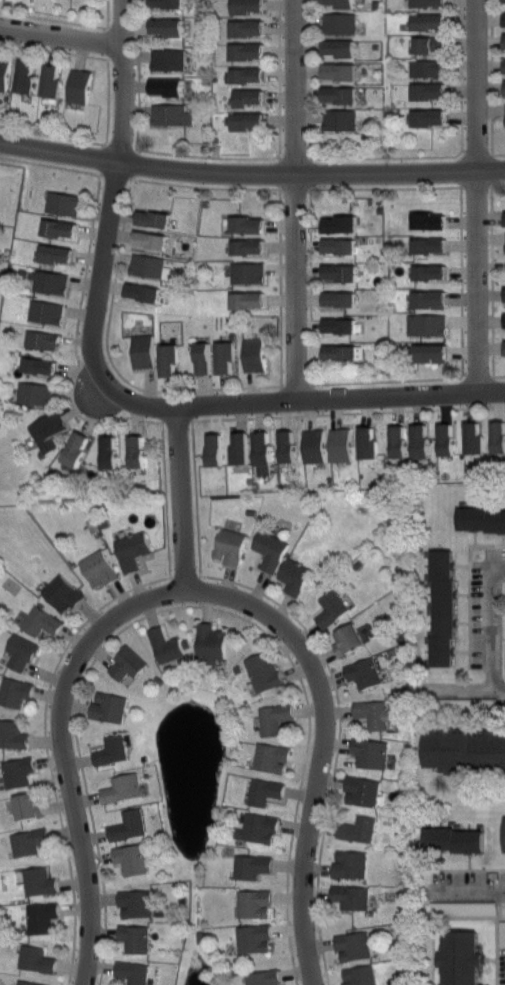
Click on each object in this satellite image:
building: (504, 1)
building: (172, 3)
building: (342, 3)
building: (434, 3)
building: (250, 6)
road: (66, 20)
building: (504, 20)
building: (432, 22)
building: (340, 23)
building: (171, 27)
building: (252, 28)
road: (62, 36)
building: (504, 42)
building: (433, 45)
building: (344, 48)
road: (53, 49)
building: (250, 51)
building: (169, 59)
building: (428, 68)
building: (344, 72)
building: (5, 73)
road: (137, 73)
building: (250, 75)
building: (27, 76)
road: (461, 76)
road: (491, 76)
road: (309, 78)
road: (279, 79)
building: (54, 80)
building: (81, 85)
building: (170, 86)
building: (434, 91)
building: (344, 95)
building: (253, 97)
road: (107, 98)
building: (171, 114)
building: (434, 118)
building: (341, 120)
building: (250, 121)
road: (53, 135)
road: (498, 152)
road: (206, 155)
road: (386, 156)
road: (50, 164)
road: (251, 173)
road: (498, 184)
road: (205, 186)
road: (385, 186)
road: (474, 194)
road: (296, 201)
building: (64, 203)
road: (114, 209)
building: (158, 219)
building: (432, 221)
building: (343, 224)
building: (251, 225)
building: (61, 228)
road: (492, 238)
building: (153, 240)
building: (435, 245)
building: (342, 246)
building: (251, 247)
building: (56, 253)
building: (150, 266)
building: (435, 272)
building: (248, 273)
building: (342, 273)
building: (49, 280)
road: (461, 282)
road: (310, 285)
road: (280, 286)
building: (145, 292)
building: (342, 299)
building: (433, 299)
building: (250, 300)
building: (47, 311)
building: (428, 325)
building: (342, 326)
road: (492, 333)
road: (75, 338)
building: (43, 339)
building: (144, 351)
building: (344, 352)
building: (433, 352)
building: (504, 352)
building: (255, 355)
building: (216, 358)
road: (110, 359)
building: (171, 360)
building: (40, 366)
road: (499, 374)
road: (387, 380)
building: (36, 393)
road: (317, 400)
road: (347, 412)
building: (49, 430)
building: (494, 435)
building: (459, 438)
building: (412, 442)
building: (369, 443)
building: (342, 445)
building: (289, 446)
building: (314, 447)
building: (77, 448)
building: (242, 449)
building: (217, 450)
building: (138, 451)
building: (109, 452)
building: (264, 452)
road: (180, 497)
road: (165, 498)
road: (195, 498)
building: (481, 518)
road: (475, 538)
road: (503, 538)
building: (231, 546)
building: (271, 548)
building: (133, 550)
road: (461, 564)
building: (99, 567)
building: (294, 576)
road: (469, 588)
building: (62, 592)
road: (461, 594)
building: (442, 608)
building: (331, 609)
building: (43, 621)
road: (490, 621)
road: (462, 622)
building: (347, 641)
park: (503, 641)
building: (211, 643)
building: (166, 645)
building: (23, 651)
road: (462, 651)
park: (504, 659)
building: (127, 663)
building: (263, 671)
building: (363, 671)
road: (465, 689)
building: (15, 691)
building: (110, 706)
building: (376, 713)
road: (461, 713)
building: (275, 717)
road: (447, 719)
road: (493, 721)
building: (13, 734)
road: (338, 742)
road: (322, 747)
building: (113, 749)
building: (465, 749)
road: (47, 750)
building: (370, 751)
road: (78, 752)
road: (67, 753)
building: (272, 758)
building: (19, 770)
road: (303, 773)
building: (122, 788)
road: (475, 790)
building: (265, 791)
building: (362, 791)
park: (465, 798)
building: (31, 806)
building: (130, 825)
building: (260, 828)
building: (358, 828)
building: (500, 832)
building: (455, 840)
building: (30, 842)
building: (131, 858)
road: (468, 861)
building: (350, 865)
building: (253, 867)
road: (467, 869)
building: (39, 881)
road: (474, 884)
building: (351, 896)
building: (137, 903)
building: (255, 904)
building: (459, 907)
road: (500, 910)
building: (43, 916)
road: (464, 916)
road: (501, 918)
building: (137, 937)
building: (255, 939)
building: (354, 945)
building: (459, 956)
building: (36, 958)
building: (134, 972)
building: (360, 975)
building: (264, 978)
building: (29, 983)

